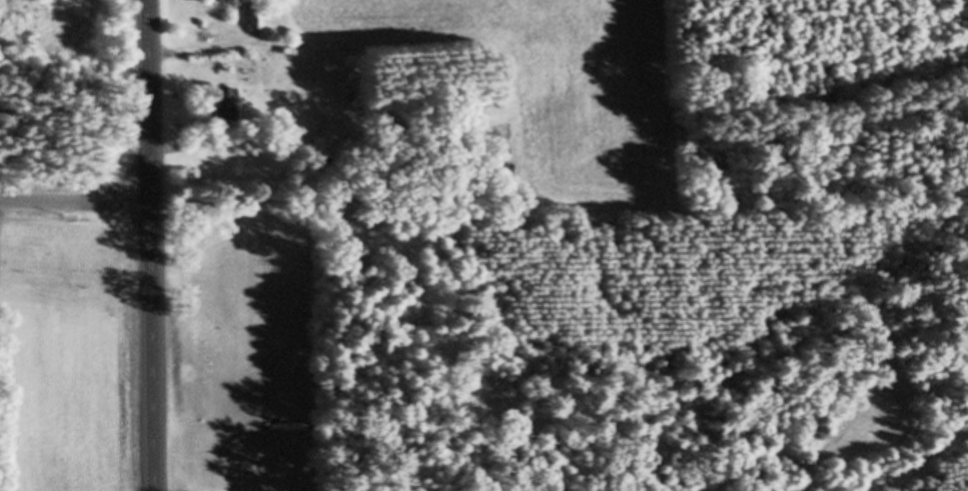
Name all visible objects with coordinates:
building: (251, 20)
building: (218, 105)
building: (319, 148)
road: (71, 199)
road: (143, 245)

